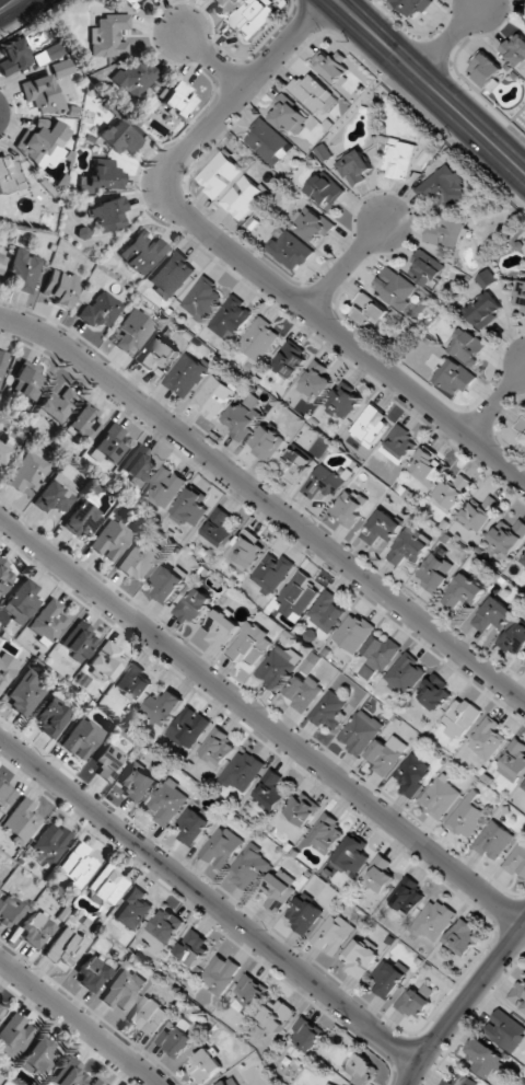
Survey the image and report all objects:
building: (128, 1)
building: (236, 1)
building: (219, 2)
road: (8, 5)
building: (413, 5)
building: (253, 16)
building: (108, 36)
road: (450, 38)
building: (515, 49)
building: (51, 53)
building: (13, 56)
road: (213, 61)
building: (330, 66)
building: (61, 68)
building: (486, 69)
building: (135, 77)
road: (430, 85)
building: (312, 92)
building: (43, 93)
building: (178, 100)
building: (287, 114)
building: (120, 138)
building: (268, 142)
building: (44, 143)
building: (399, 159)
building: (354, 168)
building: (9, 174)
building: (219, 174)
building: (102, 177)
building: (443, 188)
building: (325, 189)
building: (243, 197)
building: (108, 215)
building: (313, 224)
building: (446, 231)
building: (291, 251)
building: (142, 253)
road: (243, 262)
building: (2, 264)
road: (347, 265)
building: (425, 267)
building: (24, 270)
building: (173, 274)
building: (487, 279)
building: (60, 287)
building: (394, 287)
building: (520, 295)
building: (202, 299)
building: (101, 310)
building: (369, 310)
building: (485, 310)
building: (230, 319)
building: (133, 332)
building: (259, 339)
building: (467, 346)
building: (160, 353)
building: (291, 359)
building: (2, 361)
building: (187, 376)
building: (455, 378)
building: (316, 381)
building: (26, 384)
building: (213, 397)
road: (497, 402)
building: (343, 403)
building: (56, 405)
building: (244, 416)
building: (85, 422)
building: (371, 425)
building: (521, 429)
building: (267, 443)
building: (108, 445)
building: (398, 445)
building: (3, 453)
building: (139, 464)
building: (296, 465)
building: (427, 468)
building: (28, 473)
building: (324, 483)
building: (164, 487)
building: (56, 494)
building: (451, 494)
road: (267, 503)
building: (190, 507)
building: (350, 507)
building: (480, 512)
building: (83, 518)
building: (218, 528)
building: (382, 528)
building: (507, 536)
building: (112, 540)
building: (410, 546)
building: (245, 551)
building: (139, 561)
building: (524, 561)
building: (435, 572)
building: (271, 573)
building: (4, 575)
building: (166, 584)
building: (464, 595)
building: (295, 597)
building: (22, 601)
building: (192, 605)
building: (326, 612)
building: (493, 615)
building: (49, 621)
building: (221, 628)
building: (353, 633)
building: (515, 638)
building: (79, 640)
building: (250, 645)
building: (378, 655)
building: (107, 660)
building: (278, 667)
building: (4, 671)
building: (405, 674)
building: (133, 682)
building: (303, 692)
building: (25, 693)
building: (433, 693)
building: (163, 706)
building: (329, 711)
building: (52, 717)
building: (459, 718)
road: (261, 720)
building: (188, 727)
building: (360, 731)
building: (82, 738)
building: (487, 739)
building: (215, 748)
building: (386, 754)
building: (515, 759)
building: (108, 762)
building: (241, 772)
building: (412, 774)
building: (136, 783)
building: (523, 785)
building: (270, 790)
building: (5, 795)
building: (440, 797)
building: (167, 801)
building: (302, 808)
building: (467, 816)
building: (21, 820)
building: (194, 826)
building: (325, 833)
building: (493, 840)
building: (50, 843)
building: (221, 847)
building: (352, 854)
building: (517, 859)
building: (79, 864)
building: (249, 867)
building: (380, 874)
building: (108, 885)
building: (278, 889)
building: (407, 897)
road: (209, 898)
building: (133, 909)
building: (9, 910)
building: (433, 920)
building: (164, 926)
building: (36, 931)
building: (334, 934)
building: (462, 937)
building: (67, 946)
building: (194, 947)
building: (360, 957)
building: (221, 973)
building: (92, 974)
building: (389, 978)
building: (122, 990)
building: (518, 995)
building: (417, 1001)
road: (463, 1003)
building: (1, 1012)
building: (150, 1015)
building: (276, 1015)
road: (80, 1021)
building: (505, 1030)
building: (14, 1035)
building: (308, 1035)
building: (175, 1040)
building: (39, 1055)
building: (485, 1058)
building: (206, 1065)
building: (361, 1070)
building: (71, 1074)
building: (460, 1081)
building: (97, 1082)
building: (231, 1082)
building: (329, 1084)

